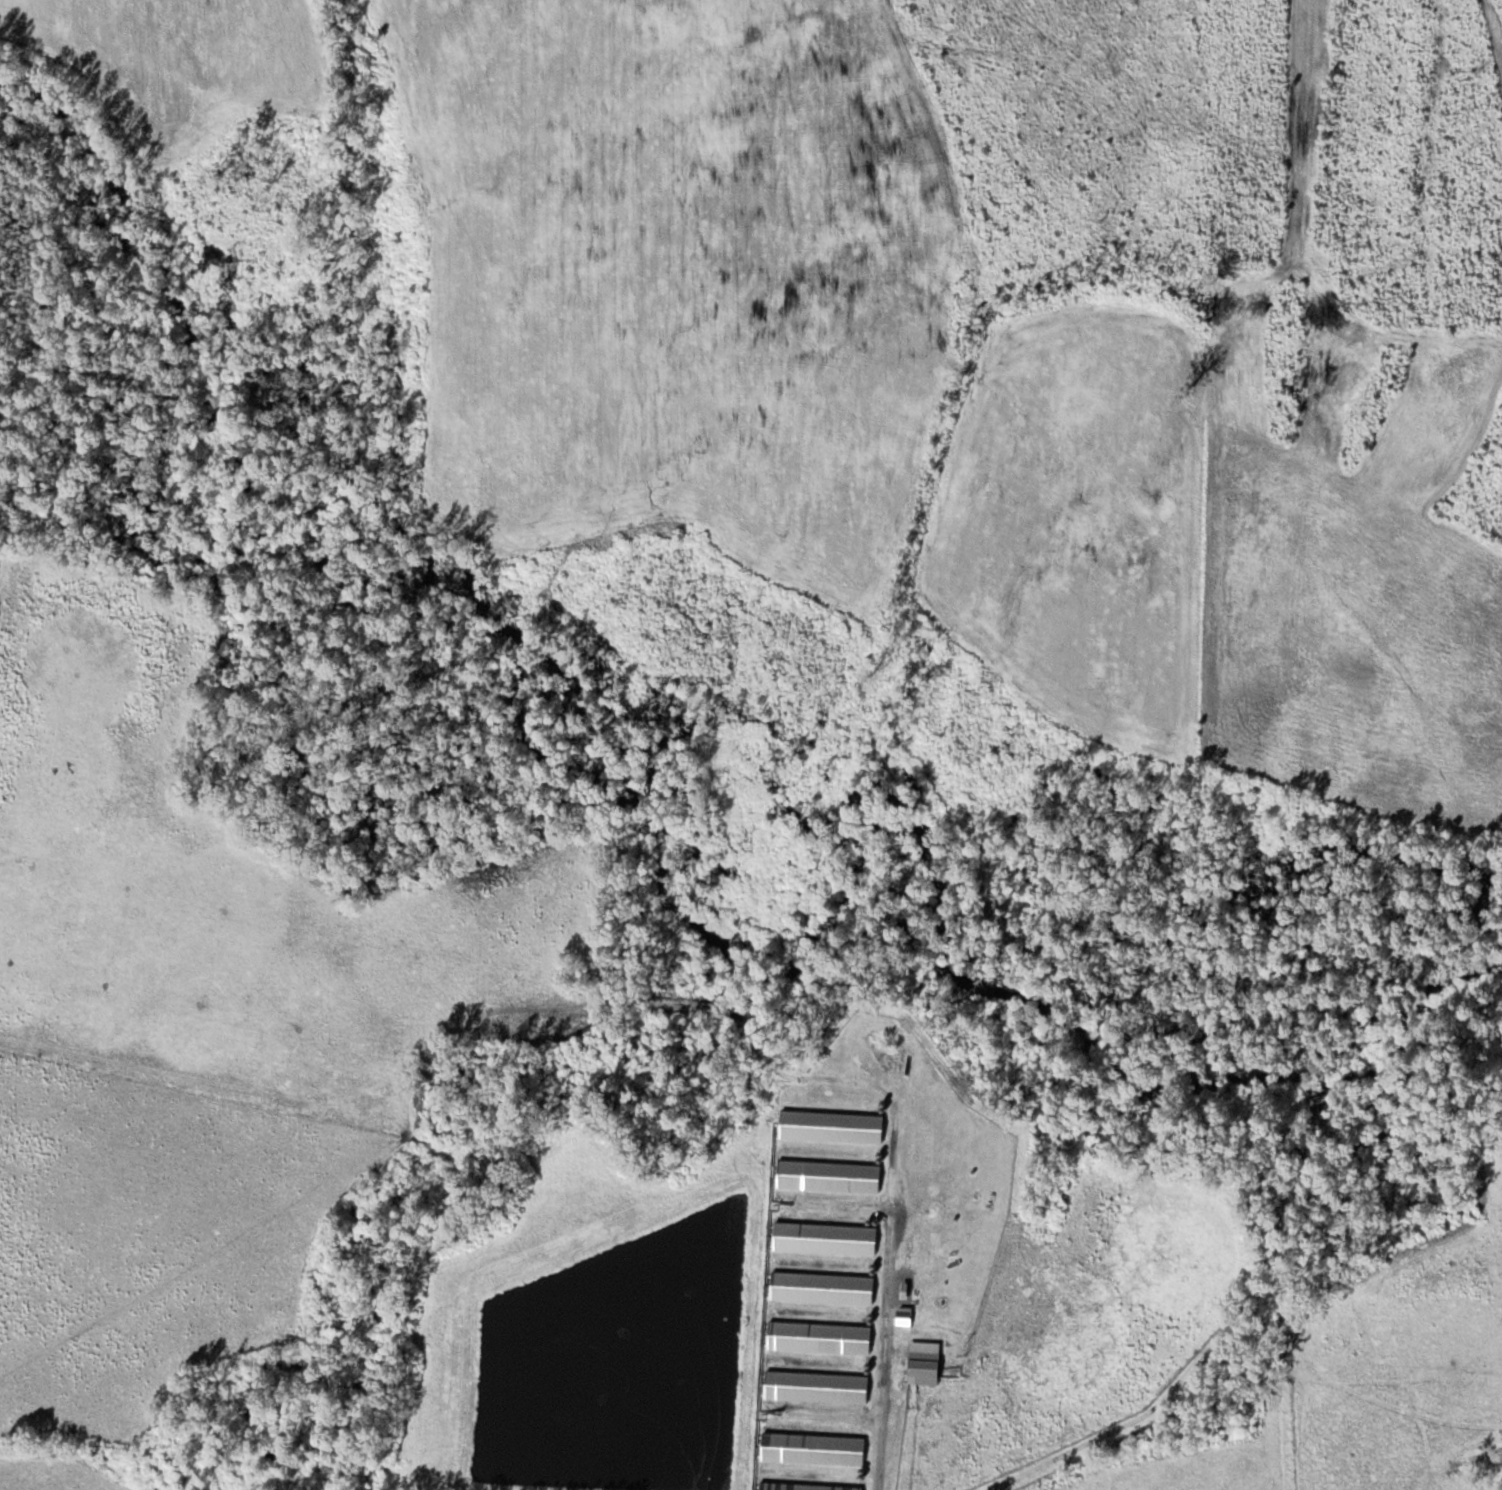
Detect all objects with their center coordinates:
building: (833, 1126)
building: (830, 1176)
building: (826, 1238)
building: (823, 1288)
building: (905, 1316)
building: (820, 1337)
building: (925, 1363)
building: (817, 1386)
building: (814, 1448)
building: (807, 1486)

